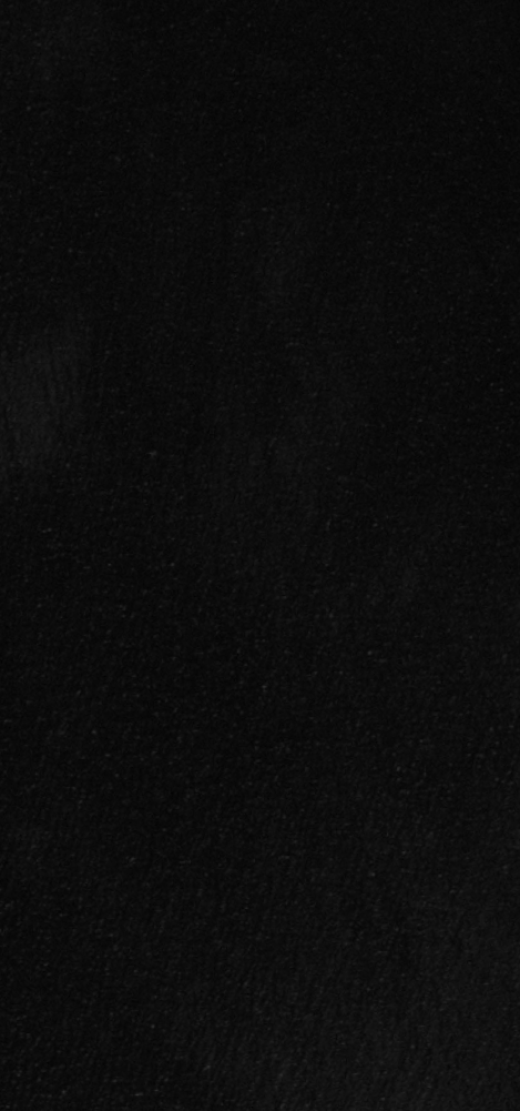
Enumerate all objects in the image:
river: (104, 609)
river: (365, 691)

